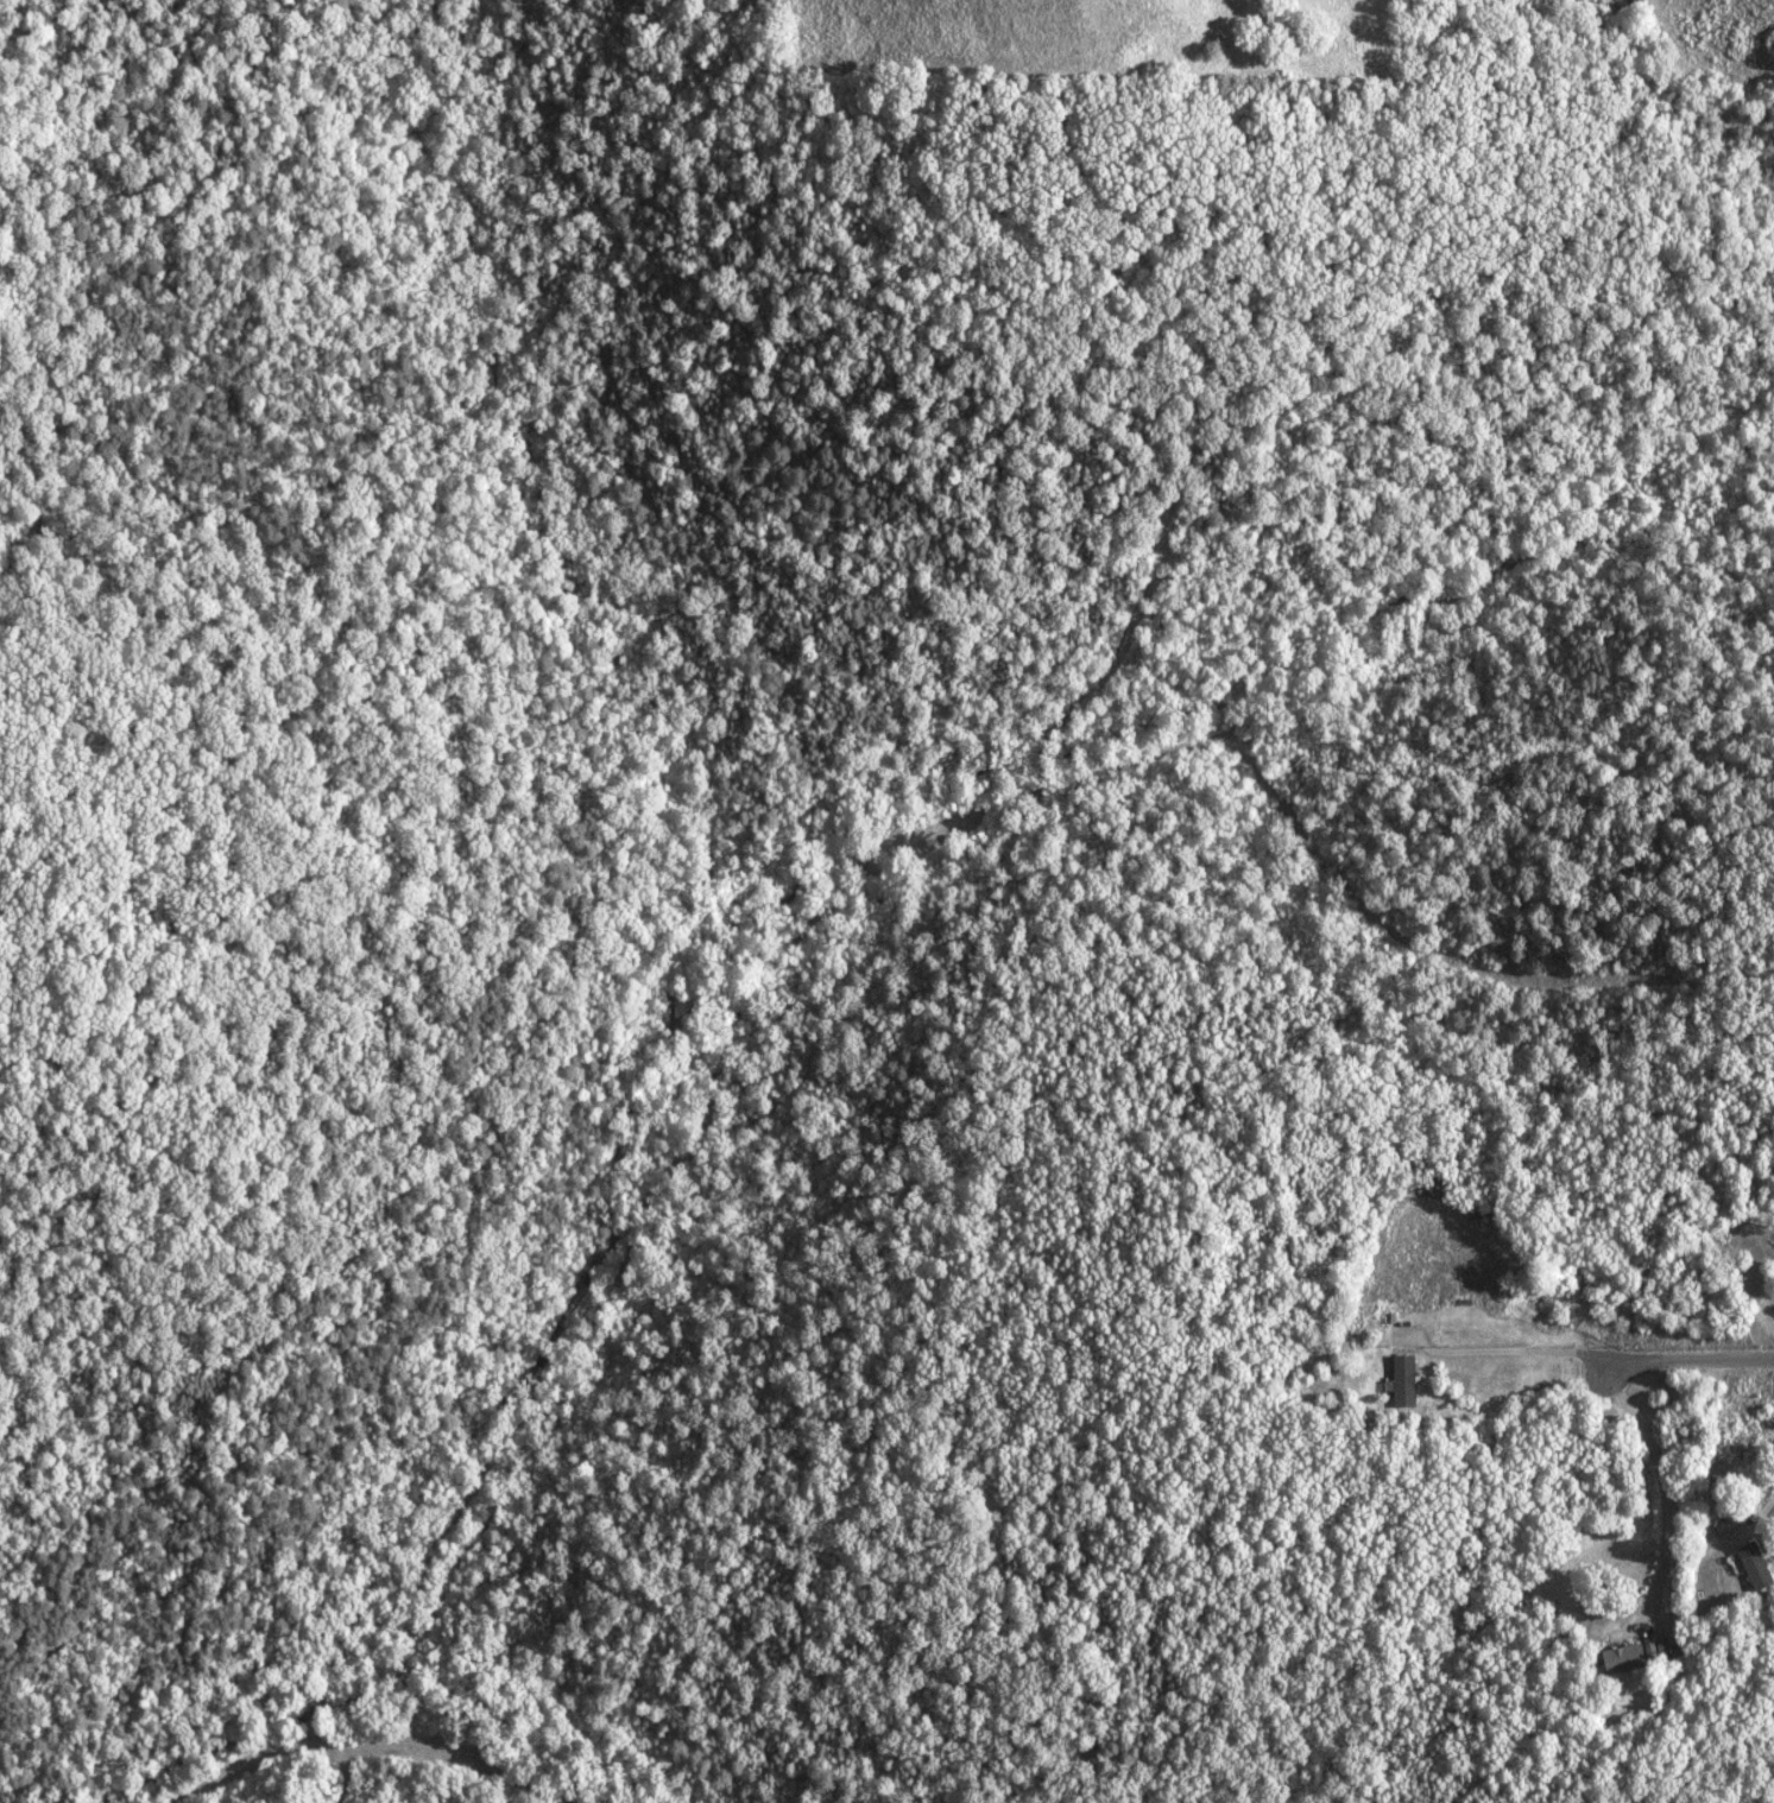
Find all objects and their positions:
road: (1505, 1356)
road: (1687, 1358)
building: (1407, 1380)
road: (1662, 1488)
building: (1755, 1565)
building: (1636, 1653)

